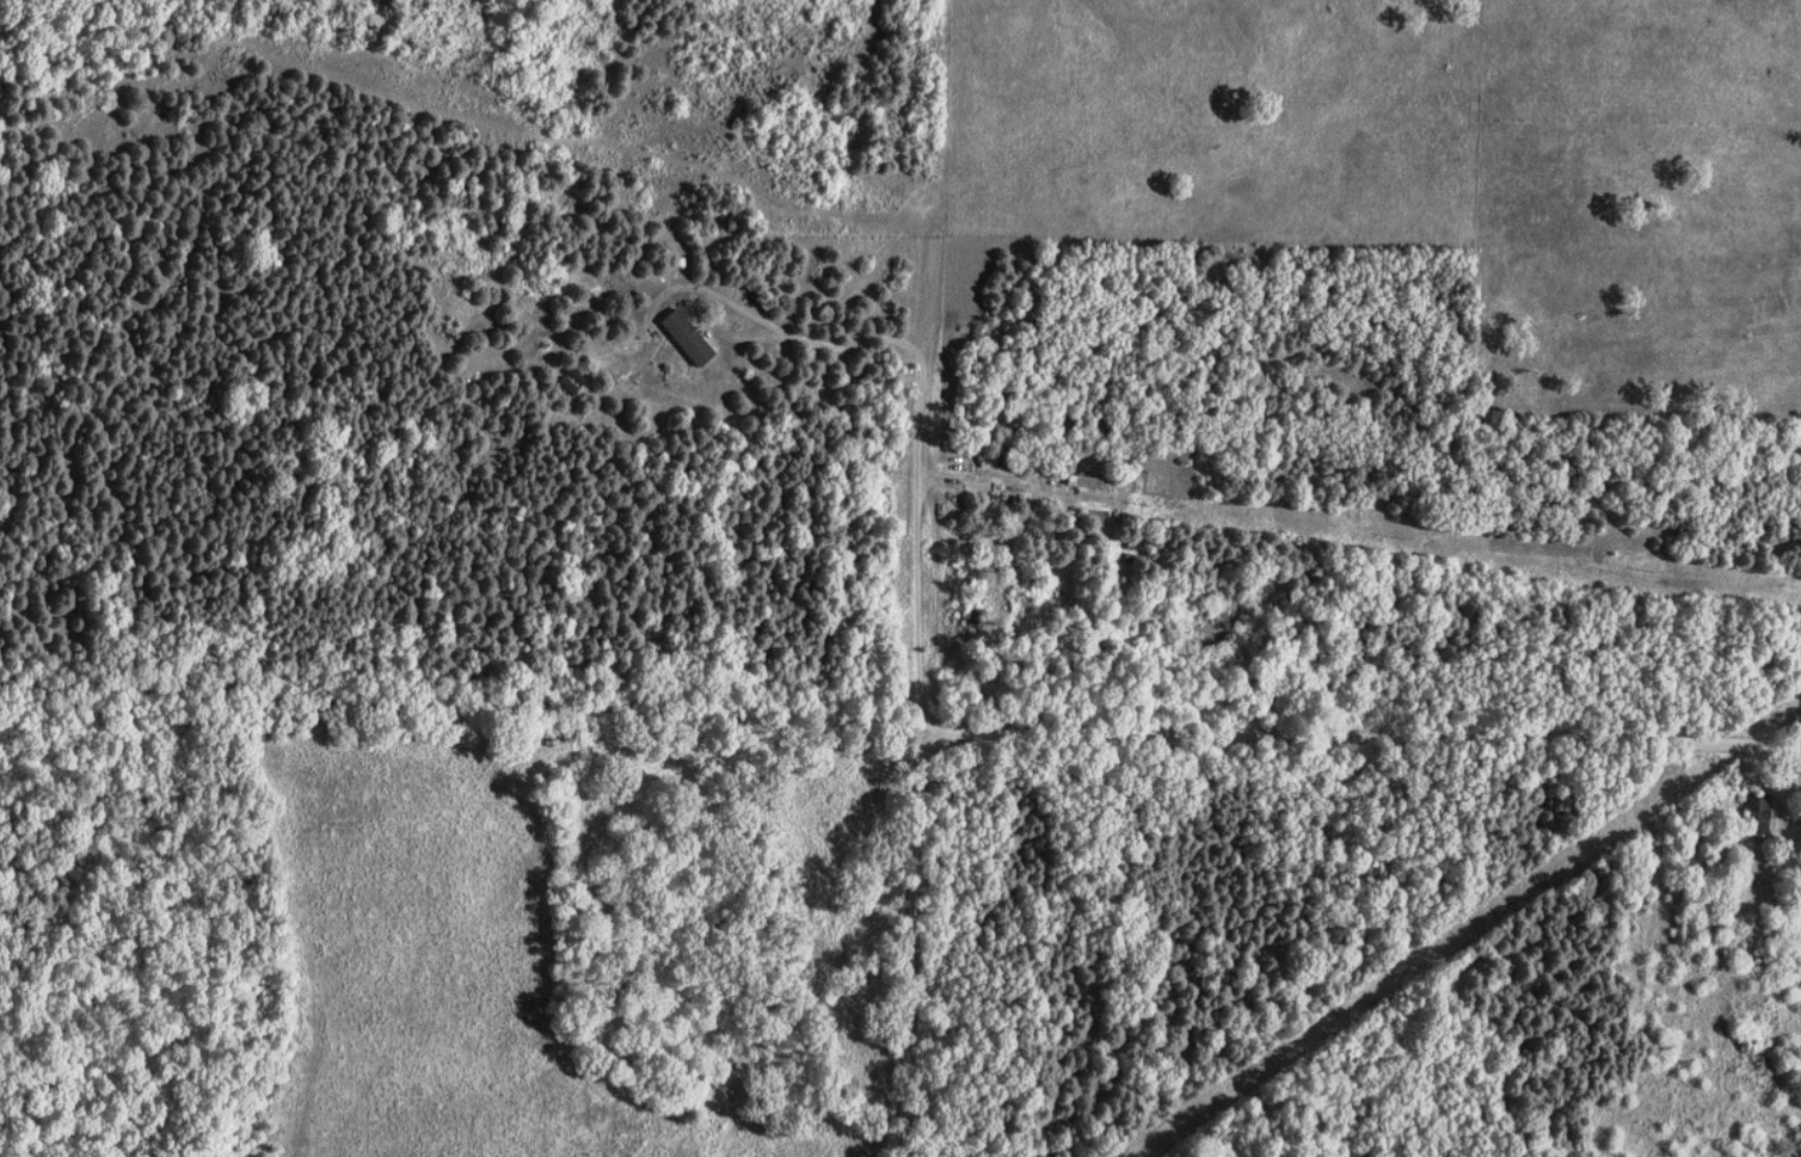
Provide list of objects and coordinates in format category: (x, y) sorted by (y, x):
building: (689, 338)
building: (573, 381)
road: (922, 404)
road: (981, 480)
road: (1162, 730)
building: (1759, 810)

